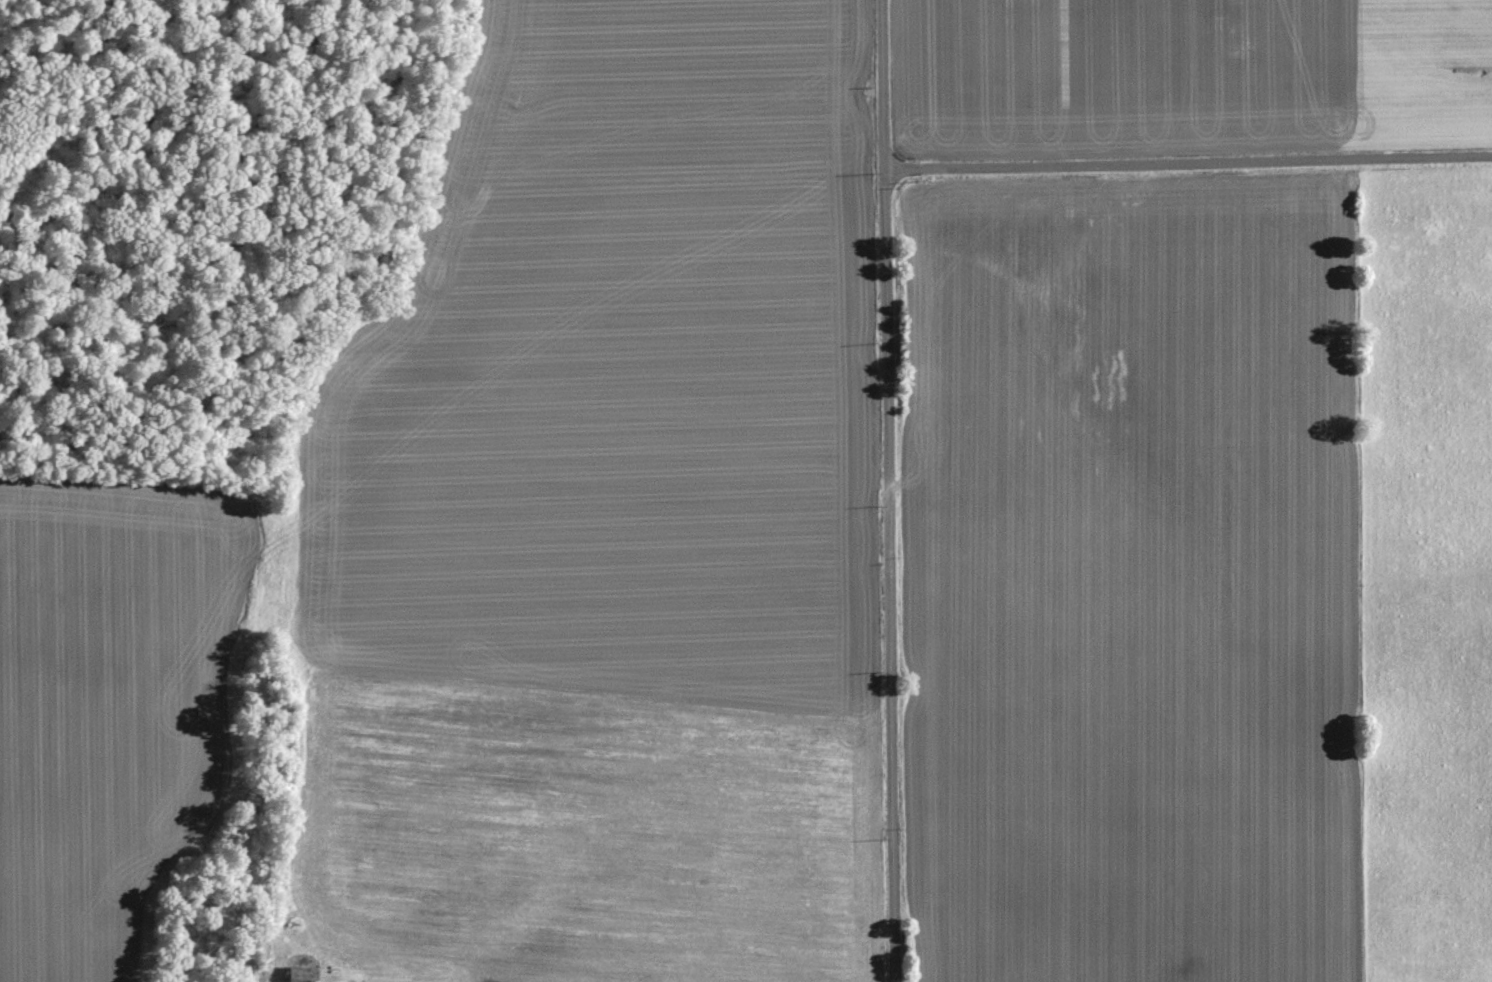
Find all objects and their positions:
road: (1187, 164)
road: (885, 491)

